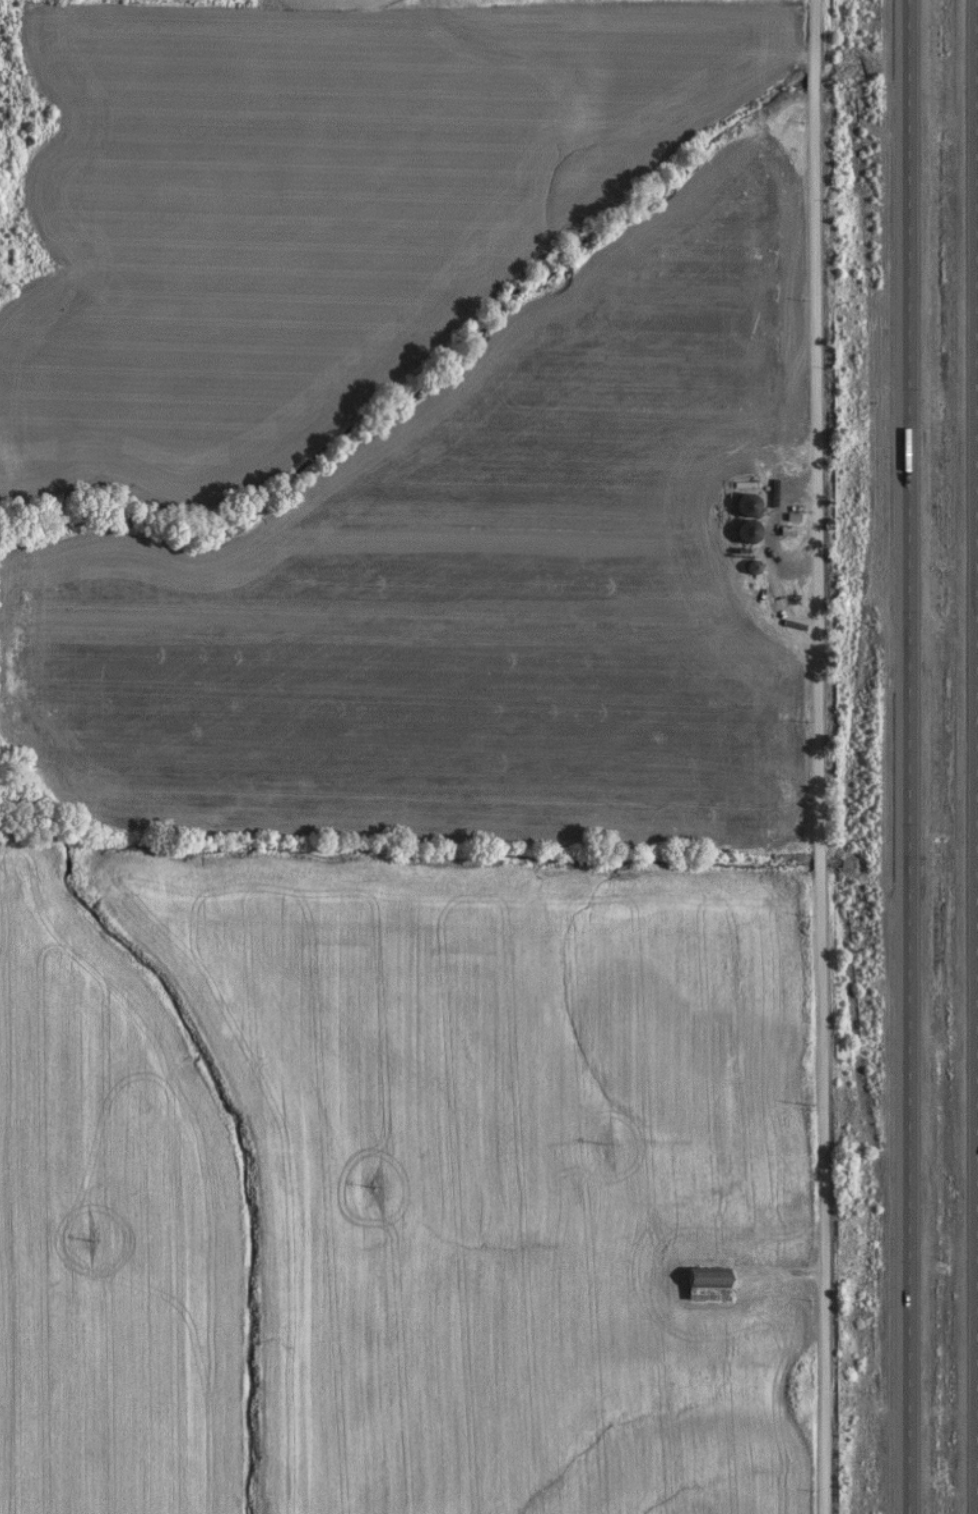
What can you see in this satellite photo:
building: (741, 502)
road: (904, 756)
road: (971, 756)
road: (814, 757)
building: (700, 1285)

